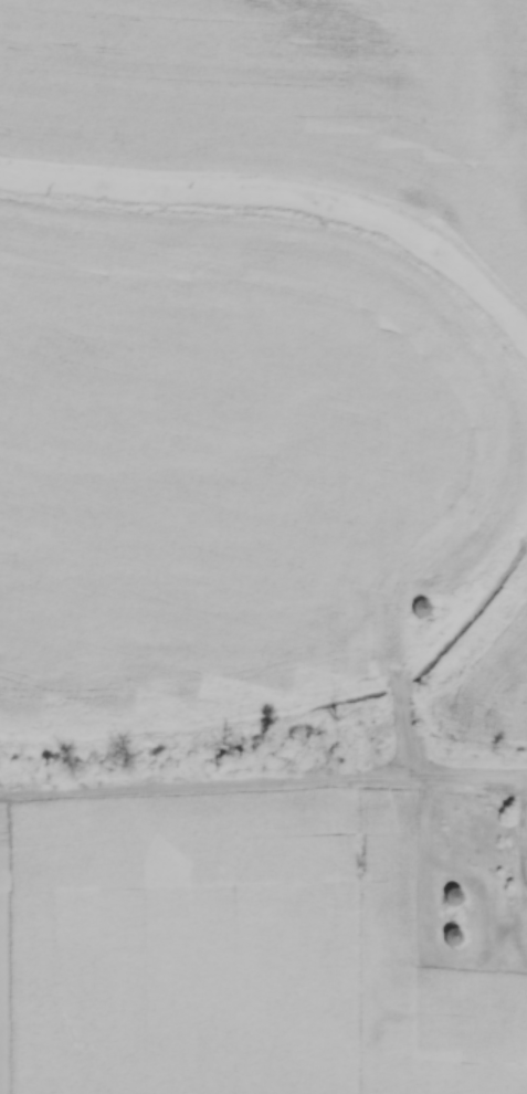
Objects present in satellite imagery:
road: (489, 777)
road: (521, 829)

